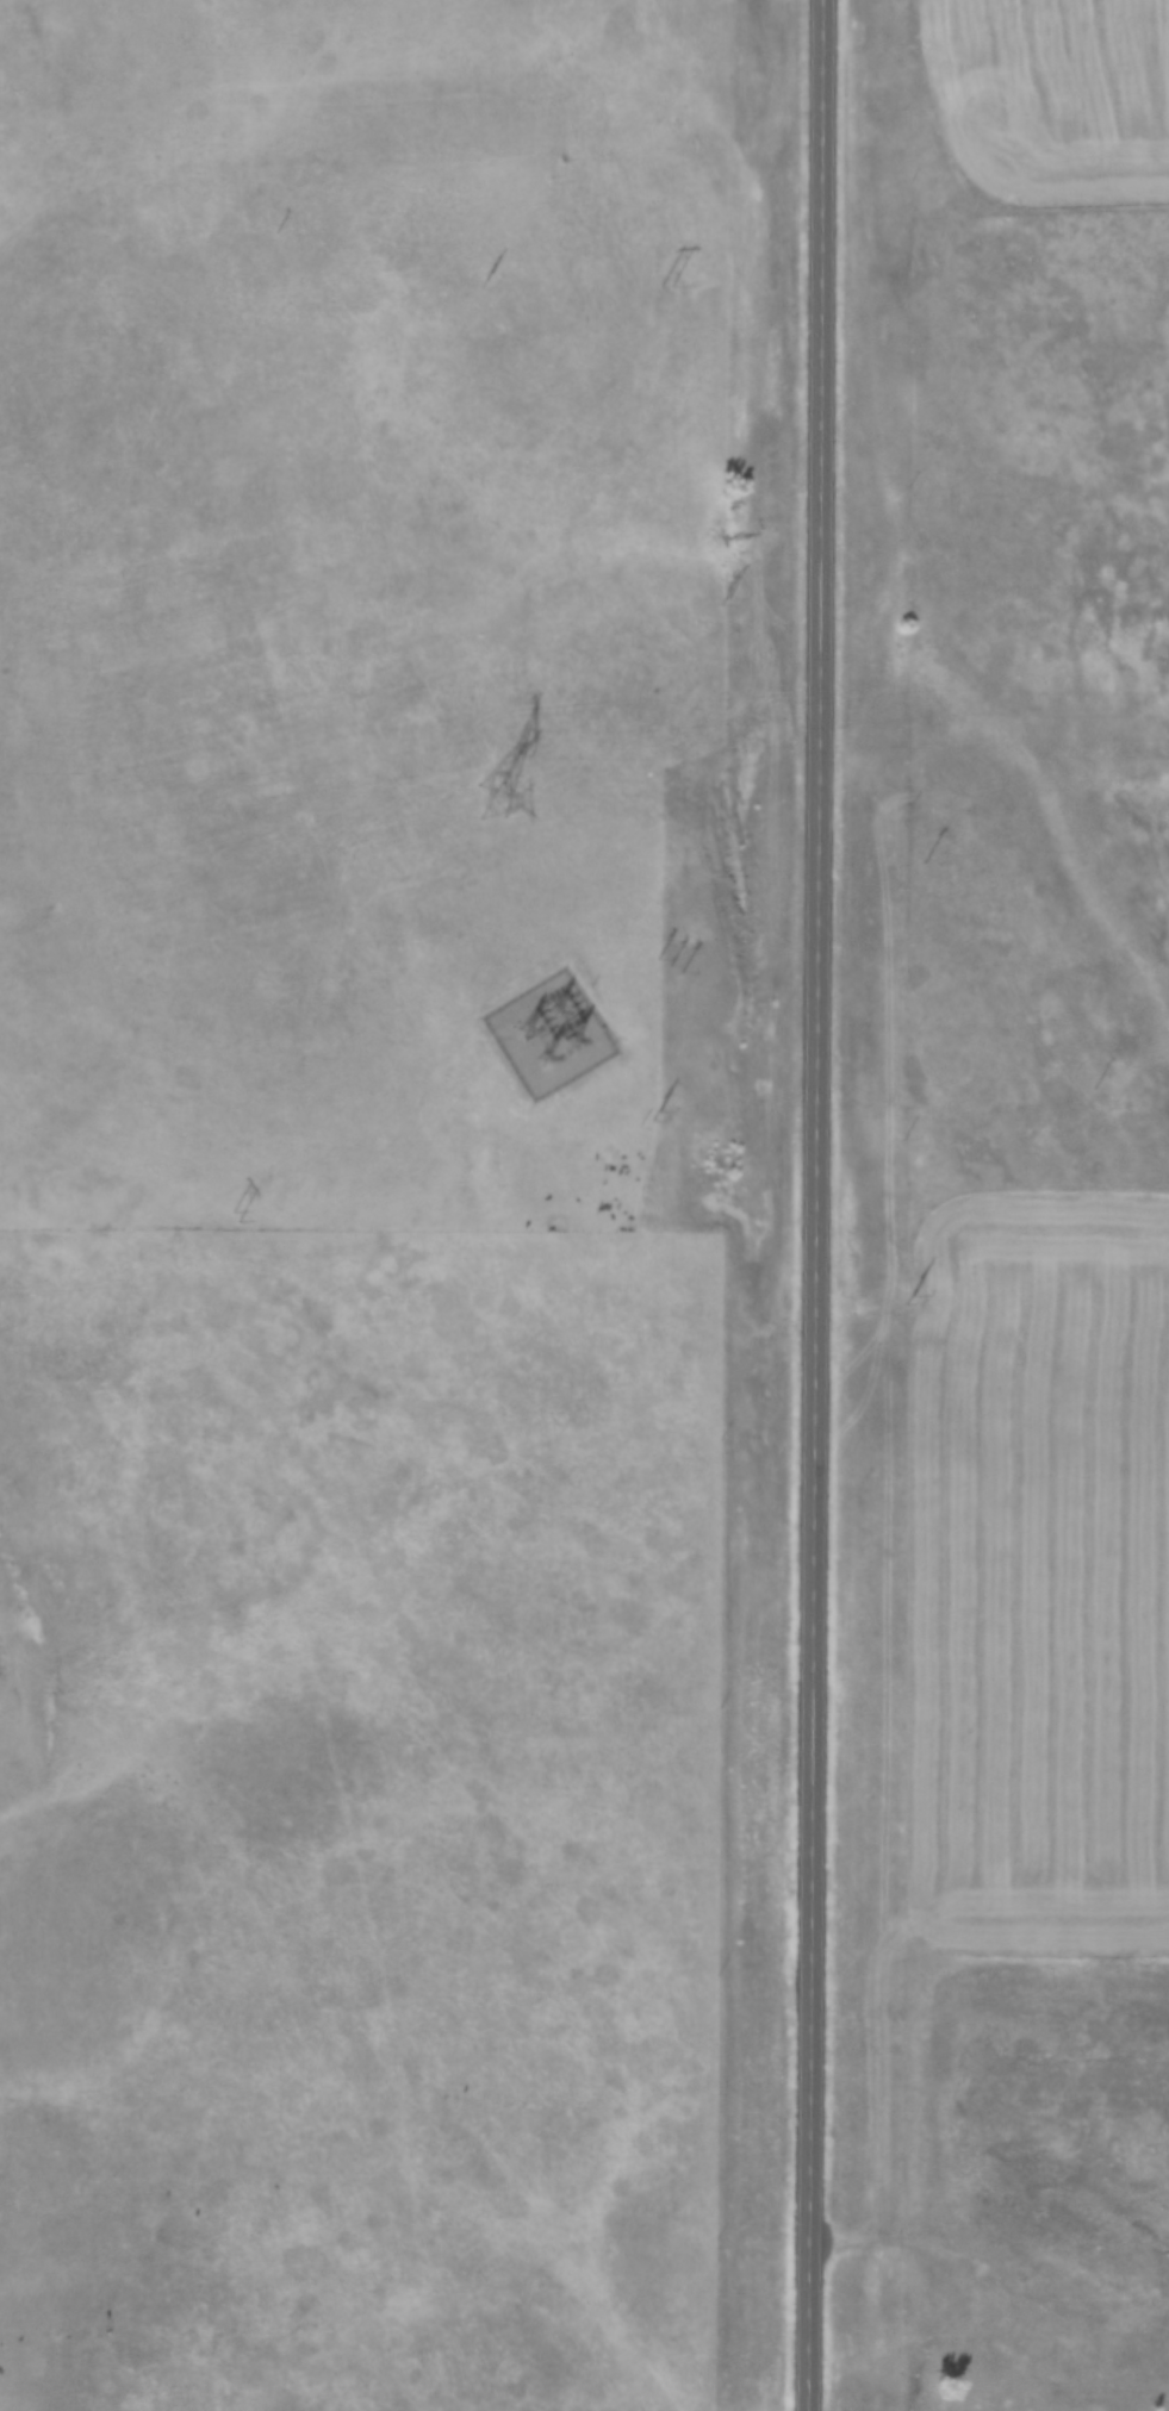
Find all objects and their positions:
power tower: (485, 802)
power substation: (551, 1033)
road: (815, 1204)
road: (989, 2279)

